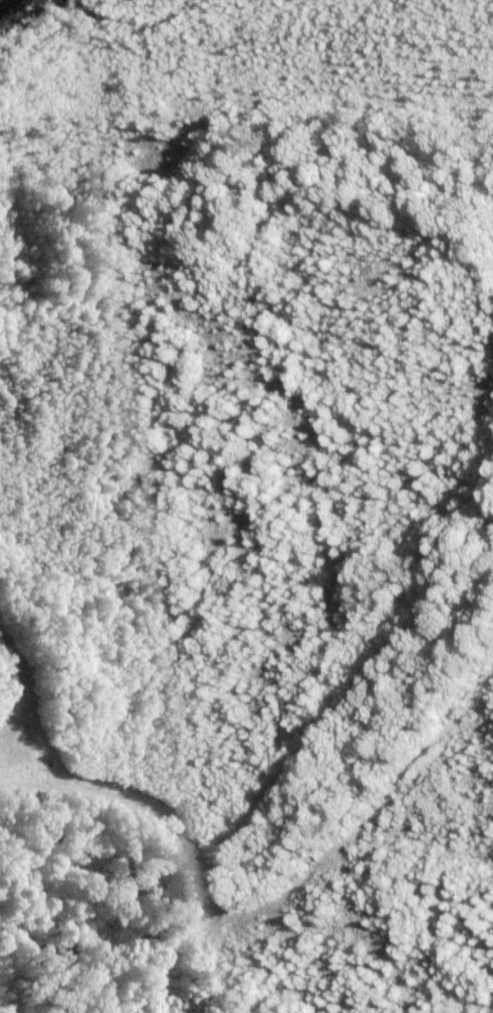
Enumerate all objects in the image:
road: (183, 950)

